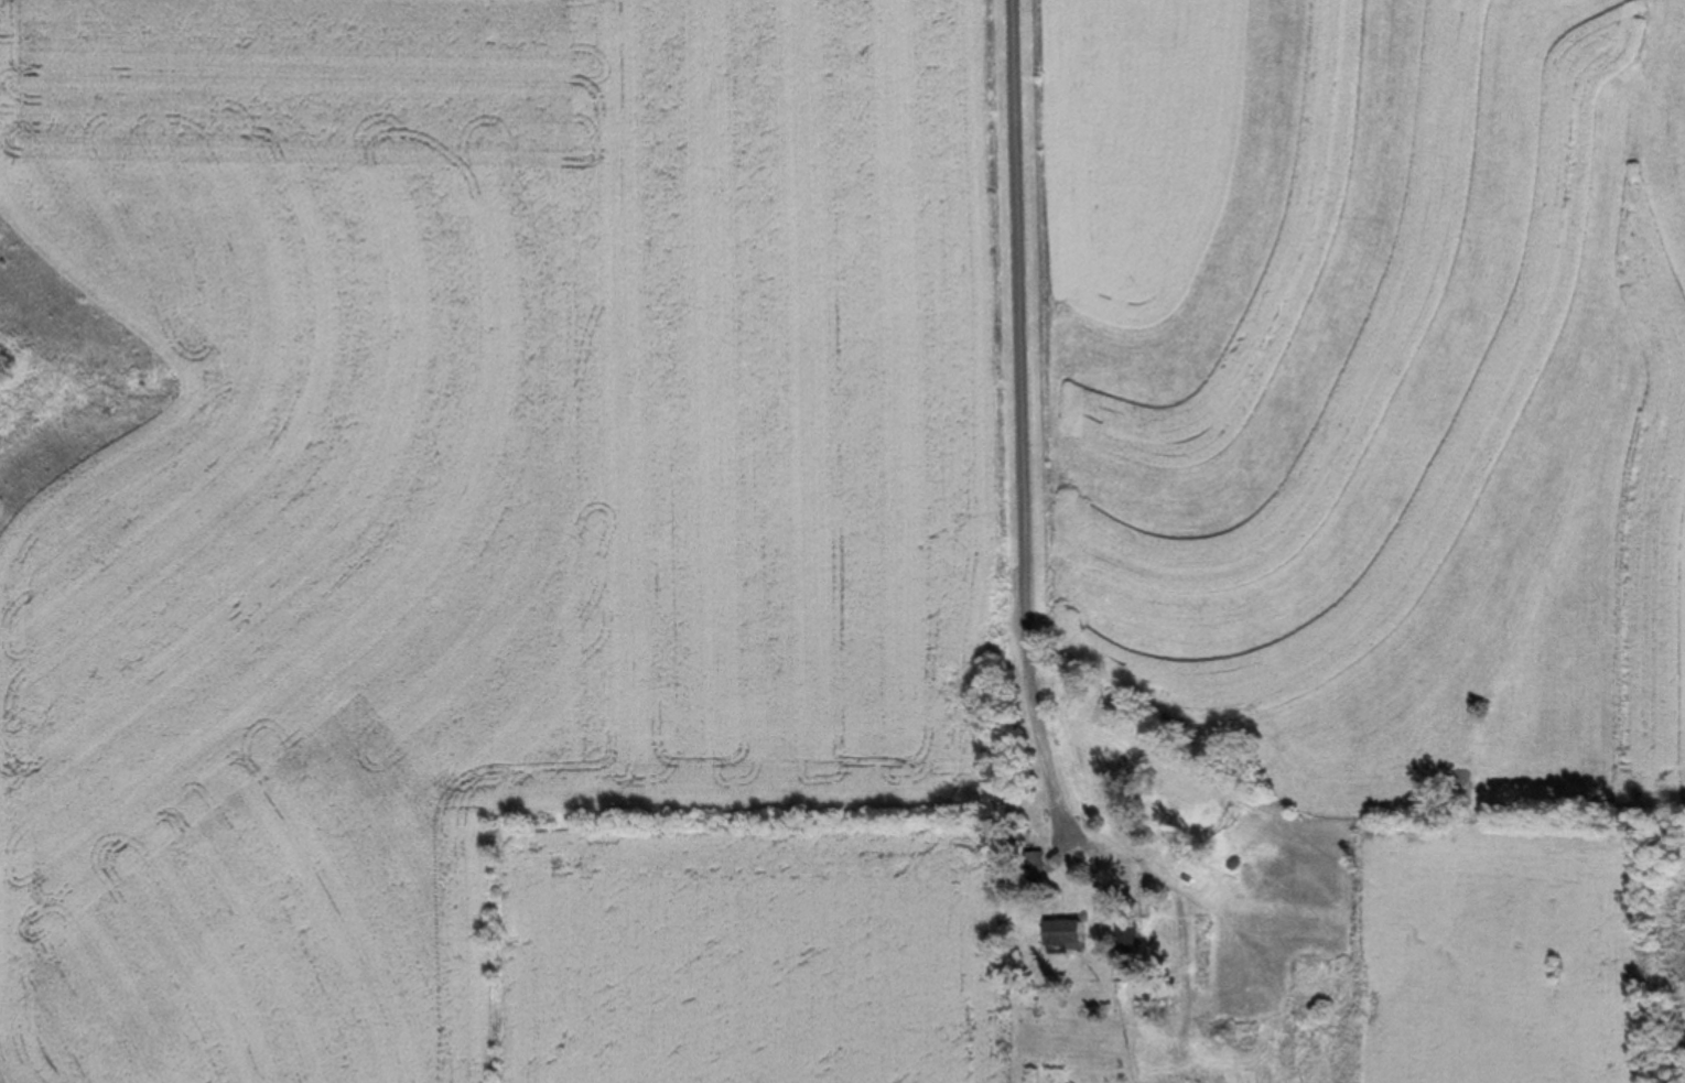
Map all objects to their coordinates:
road: (1001, 469)
building: (1031, 868)
building: (1059, 934)
building: (1124, 938)

